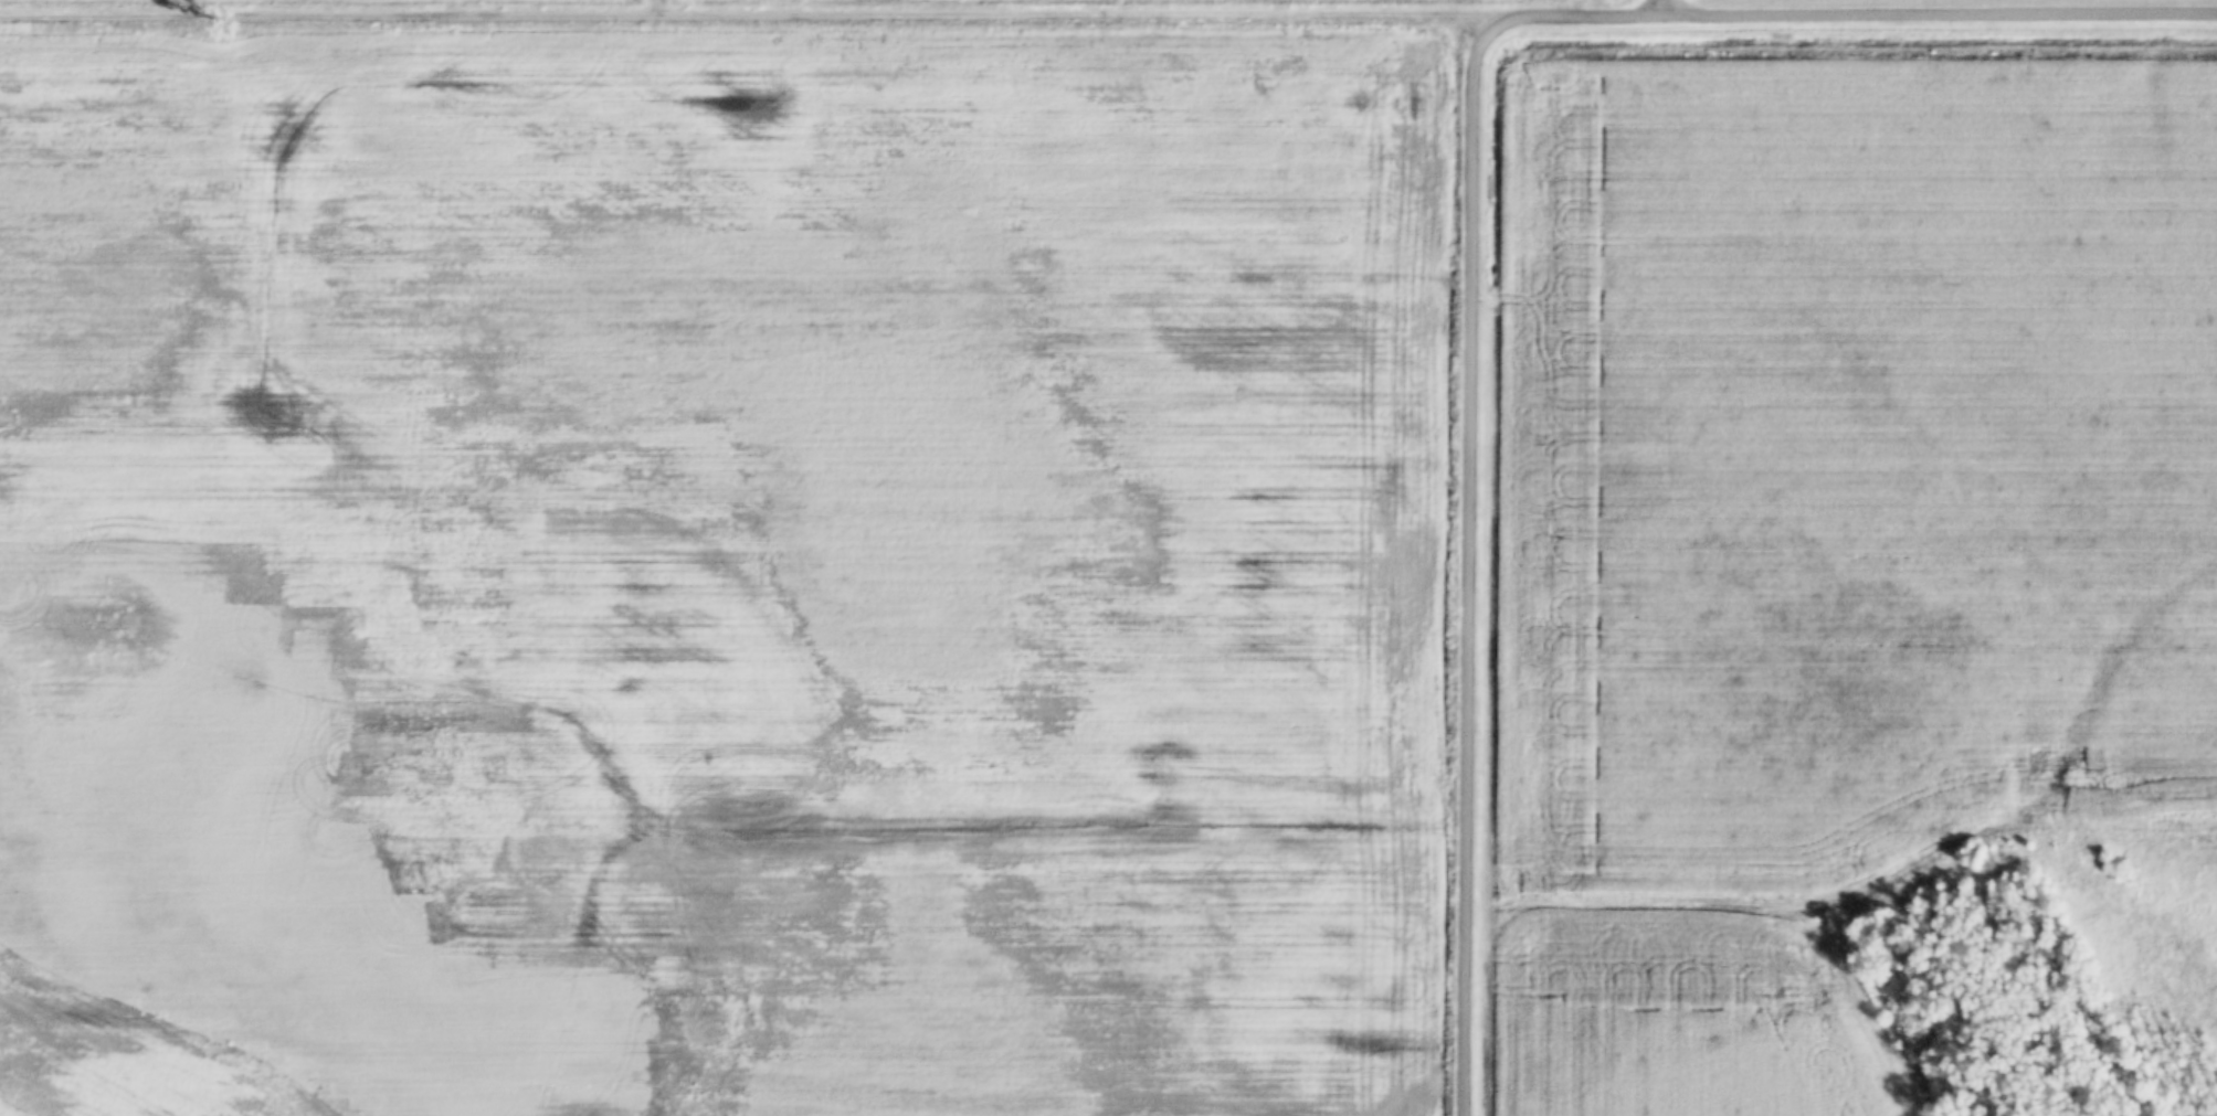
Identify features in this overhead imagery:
road: (1665, 8)
road: (743, 13)
road: (1850, 14)
road: (1475, 567)

